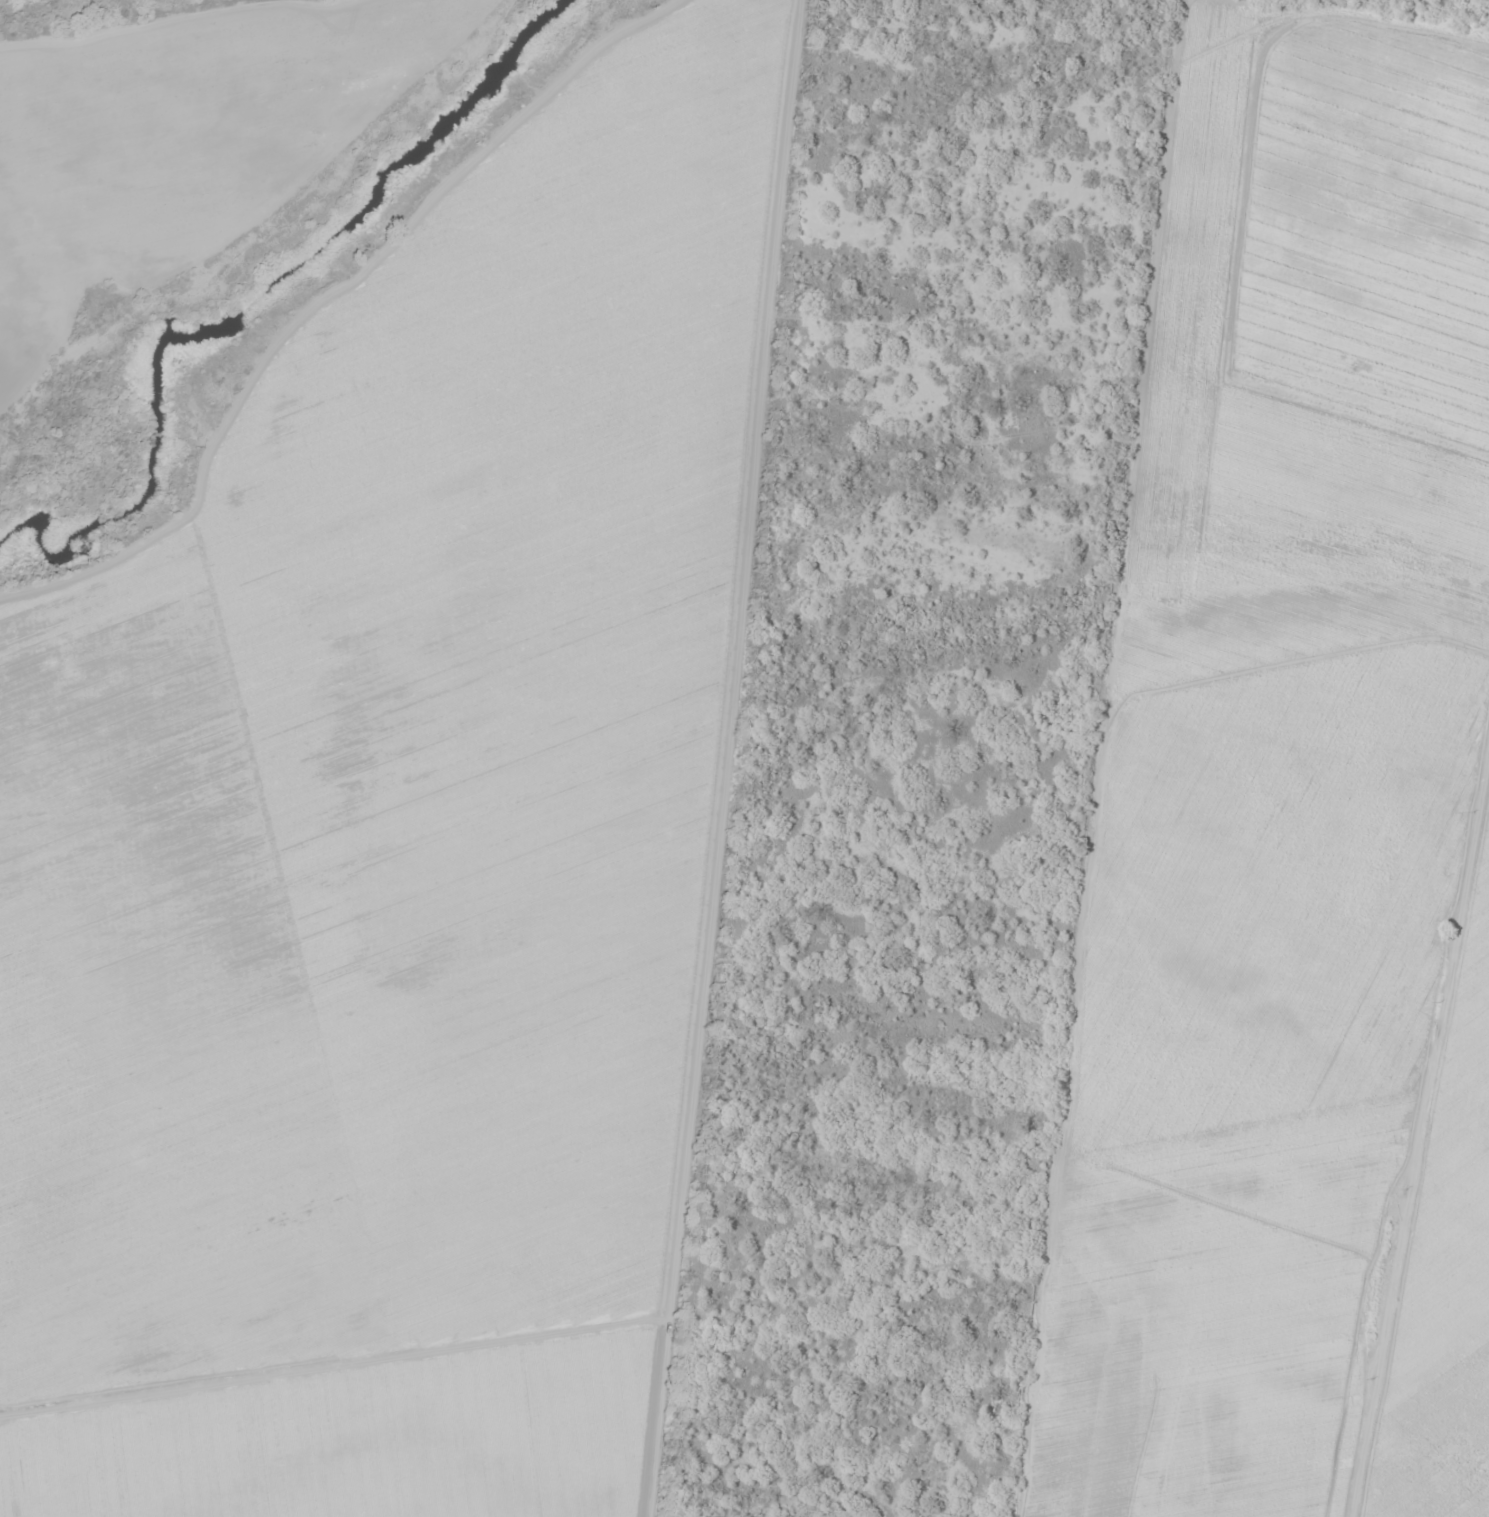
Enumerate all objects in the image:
river: (265, 296)

